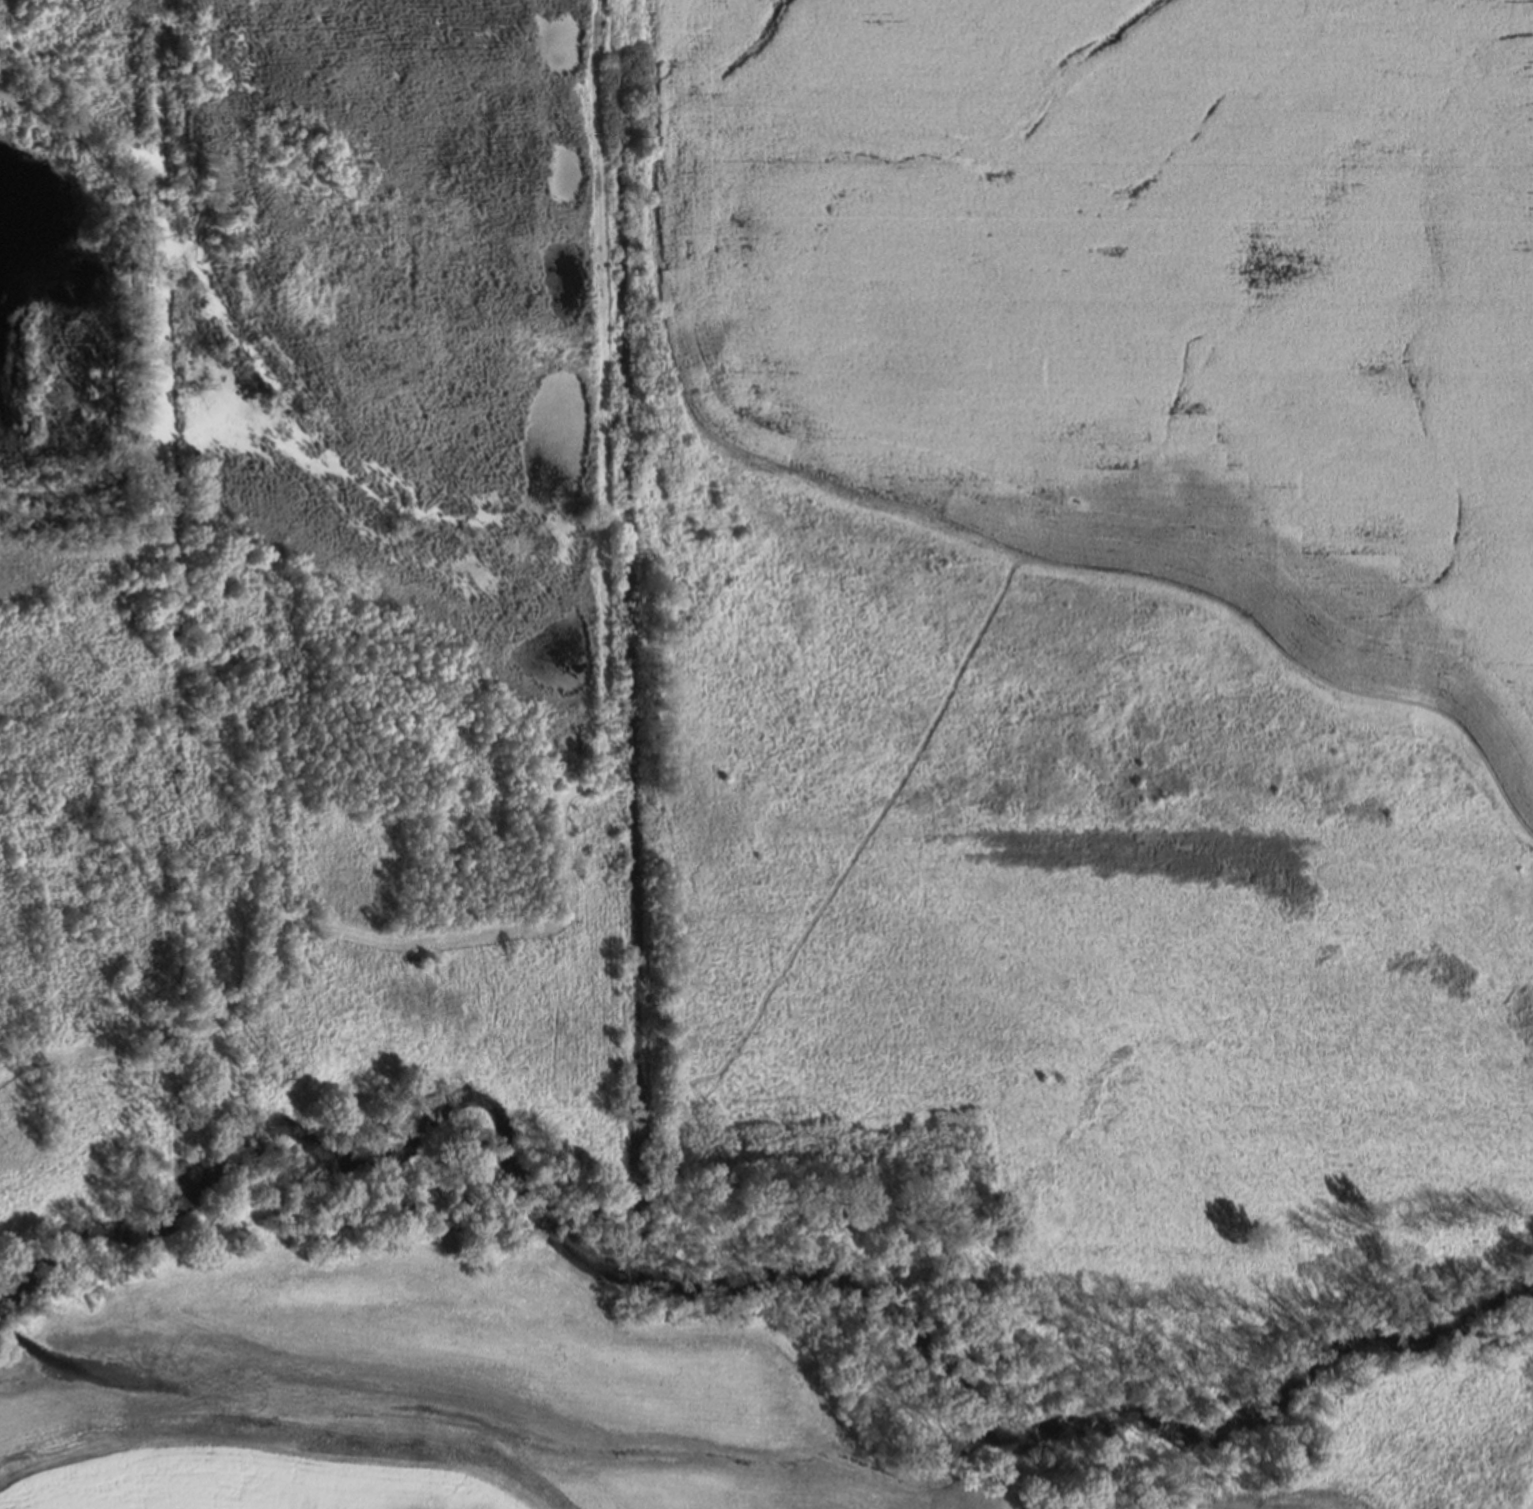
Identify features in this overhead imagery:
river: (470, 1143)
river: (77, 1272)
river: (1137, 1443)

